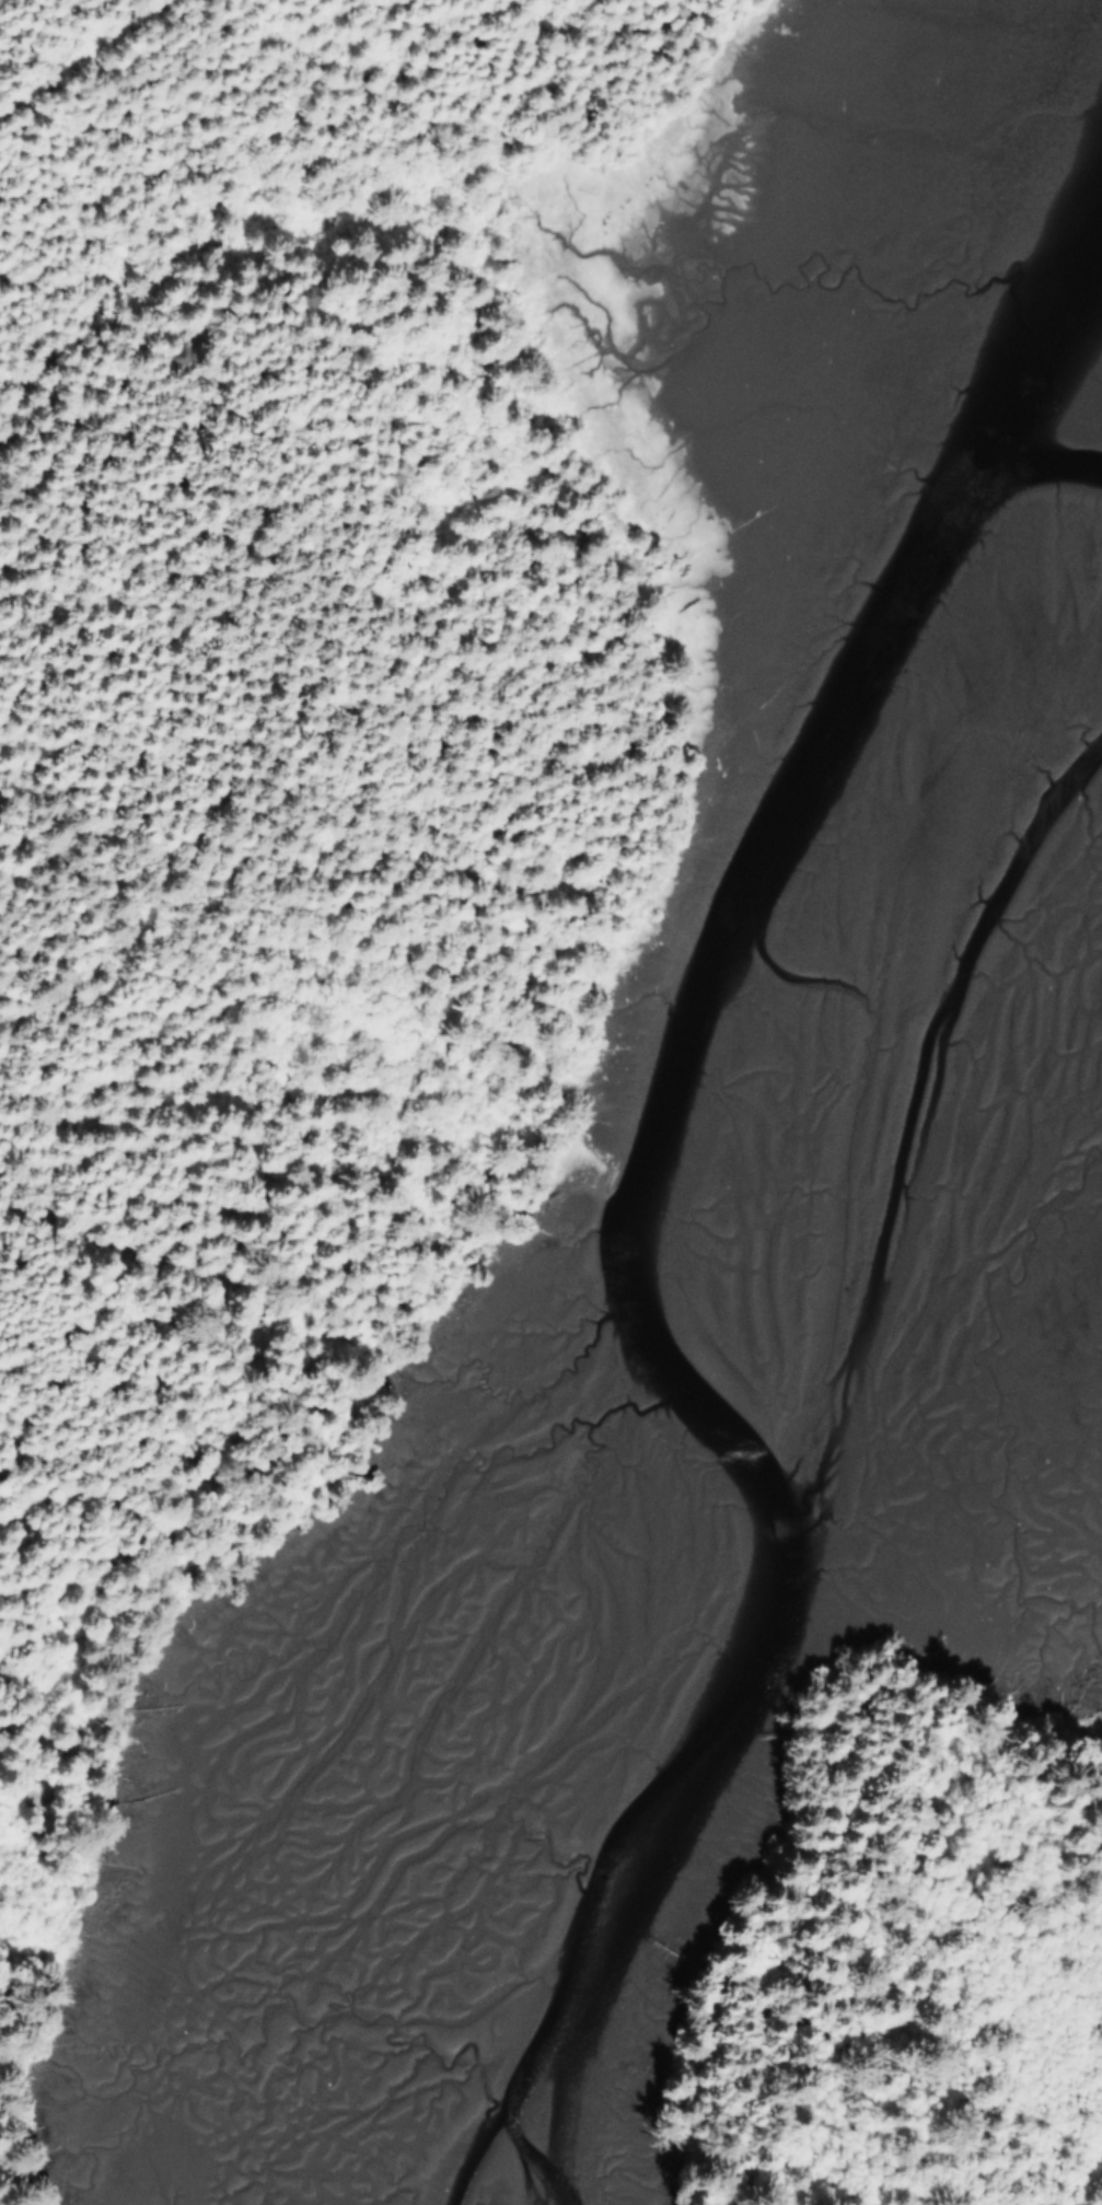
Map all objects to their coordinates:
road: (84, 56)
road: (1092, 2175)

